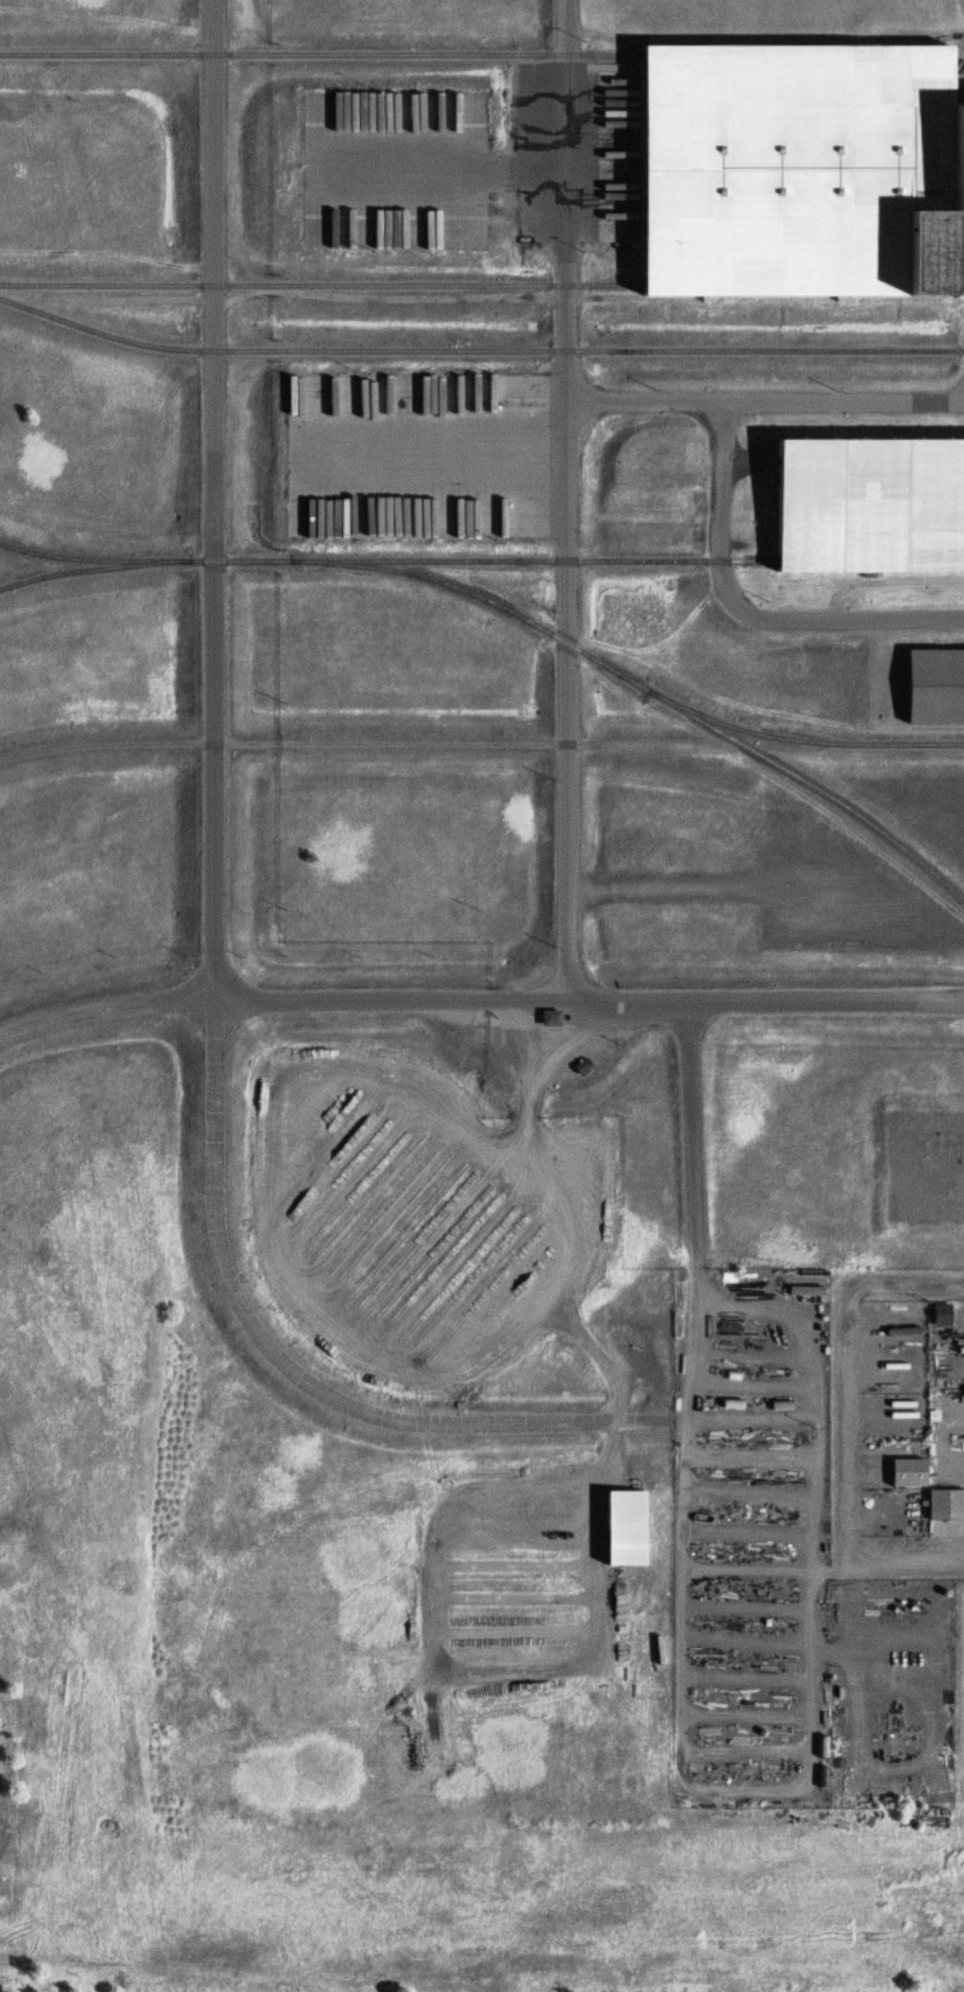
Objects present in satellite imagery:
railway: (308, 54)
parking lot: (393, 166)
road: (431, 166)
building: (791, 170)
railway: (309, 284)
railway: (478, 350)
road: (761, 403)
parking lot: (424, 455)
road: (424, 456)
road: (215, 499)
road: (560, 502)
building: (857, 505)
railway: (543, 559)
railway: (92, 570)
road: (746, 611)
railway: (518, 614)
building: (929, 685)
railway: (800, 741)
road: (590, 1003)
road: (106, 1004)
building: (543, 1020)
road: (688, 1133)
building: (802, 1291)
building: (937, 1315)
road: (291, 1365)
building: (906, 1472)
building: (947, 1506)
building: (622, 1527)

